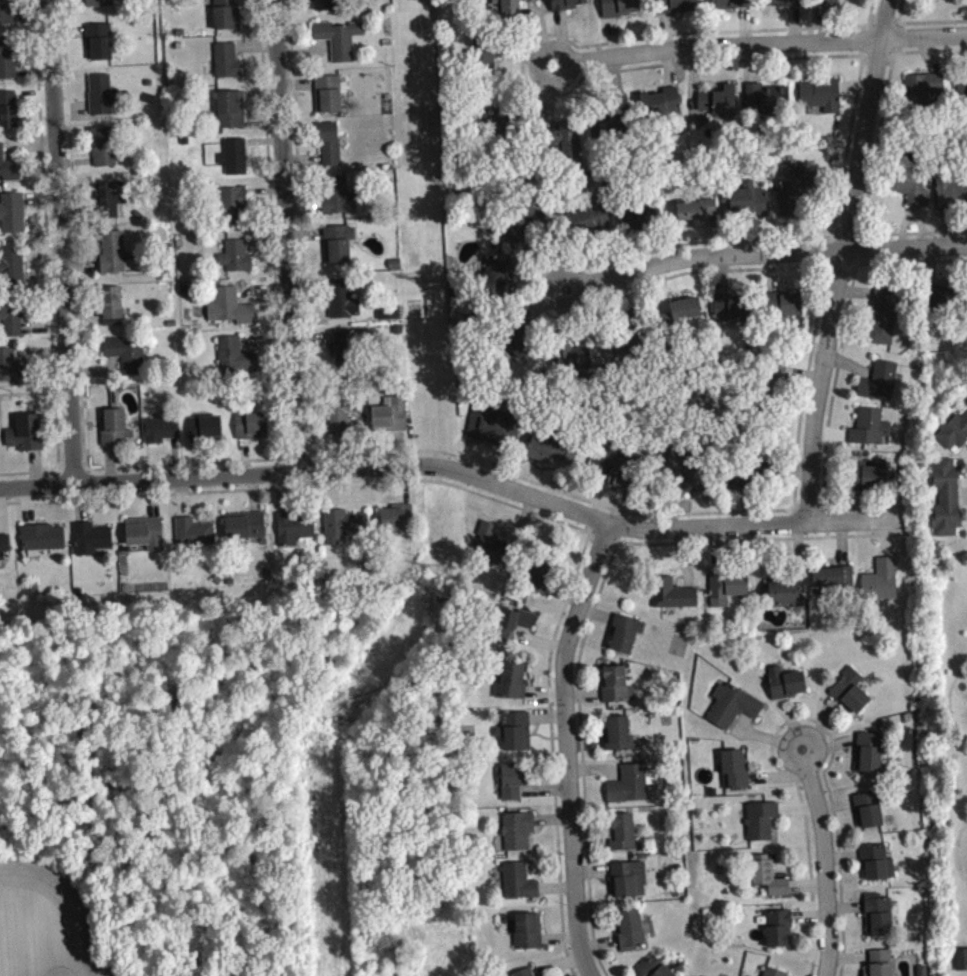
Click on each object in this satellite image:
building: (518, 3)
building: (783, 5)
building: (830, 5)
building: (101, 6)
building: (326, 7)
building: (569, 7)
building: (733, 7)
building: (680, 8)
building: (622, 10)
building: (6, 15)
building: (228, 17)
building: (340, 44)
building: (101, 47)
road: (762, 52)
building: (8, 64)
building: (228, 67)
building: (927, 91)
building: (330, 99)
building: (819, 99)
building: (103, 100)
building: (767, 103)
building: (719, 107)
building: (661, 109)
building: (9, 115)
building: (232, 115)
building: (607, 131)
building: (567, 143)
building: (331, 150)
building: (104, 152)
building: (235, 162)
building: (9, 172)
building: (798, 189)
building: (911, 192)
building: (952, 199)
building: (339, 202)
building: (112, 203)
building: (749, 206)
building: (235, 212)
building: (698, 215)
building: (13, 219)
building: (644, 222)
building: (592, 223)
building: (525, 229)
road: (286, 236)
road: (61, 242)
building: (341, 249)
road: (766, 256)
building: (115, 258)
road: (845, 262)
building: (237, 263)
building: (12, 271)
power tower: (432, 284)
building: (499, 285)
building: (344, 306)
building: (943, 306)
building: (787, 310)
building: (114, 311)
building: (231, 313)
building: (734, 315)
building: (687, 316)
building: (885, 321)
building: (14, 322)
building: (520, 346)
building: (344, 353)
building: (127, 360)
building: (237, 364)
building: (13, 374)
building: (880, 388)
building: (343, 419)
building: (391, 421)
building: (490, 430)
building: (253, 432)
building: (117, 433)
building: (207, 433)
building: (871, 433)
building: (162, 435)
building: (28, 439)
building: (954, 439)
building: (552, 456)
road: (454, 469)
building: (618, 472)
building: (689, 477)
building: (871, 482)
building: (740, 485)
building: (948, 505)
building: (399, 523)
building: (246, 531)
building: (345, 531)
building: (295, 535)
building: (195, 538)
building: (147, 539)
building: (44, 543)
building: (93, 544)
building: (5, 551)
building: (493, 552)
power tower: (447, 571)
building: (543, 581)
building: (835, 584)
building: (882, 586)
building: (728, 593)
building: (787, 599)
building: (674, 600)
building: (514, 628)
building: (626, 639)
building: (513, 686)
building: (788, 689)
building: (618, 691)
building: (852, 697)
building: (733, 711)
building: (518, 737)
building: (619, 740)
power tower: (324, 742)
road: (574, 749)
building: (870, 759)
building: (736, 776)
building: (516, 786)
building: (631, 791)
building: (870, 816)
building: (762, 826)
building: (519, 837)
building: (622, 838)
road: (826, 864)
building: (879, 869)
building: (770, 882)
building: (629, 885)
building: (520, 888)
building: (879, 921)
crop: (48, 923)
building: (780, 935)
building: (631, 936)
building: (529, 937)
building: (961, 965)
building: (882, 966)
building: (653, 970)
building: (771, 974)
building: (529, 975)

